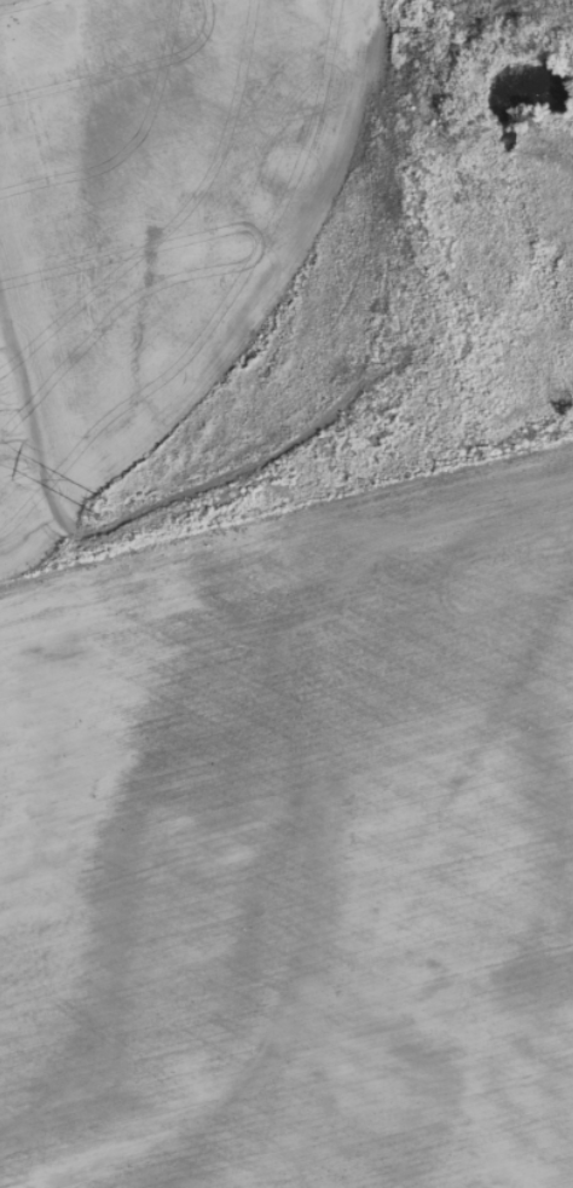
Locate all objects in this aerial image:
power tower: (114, 511)

